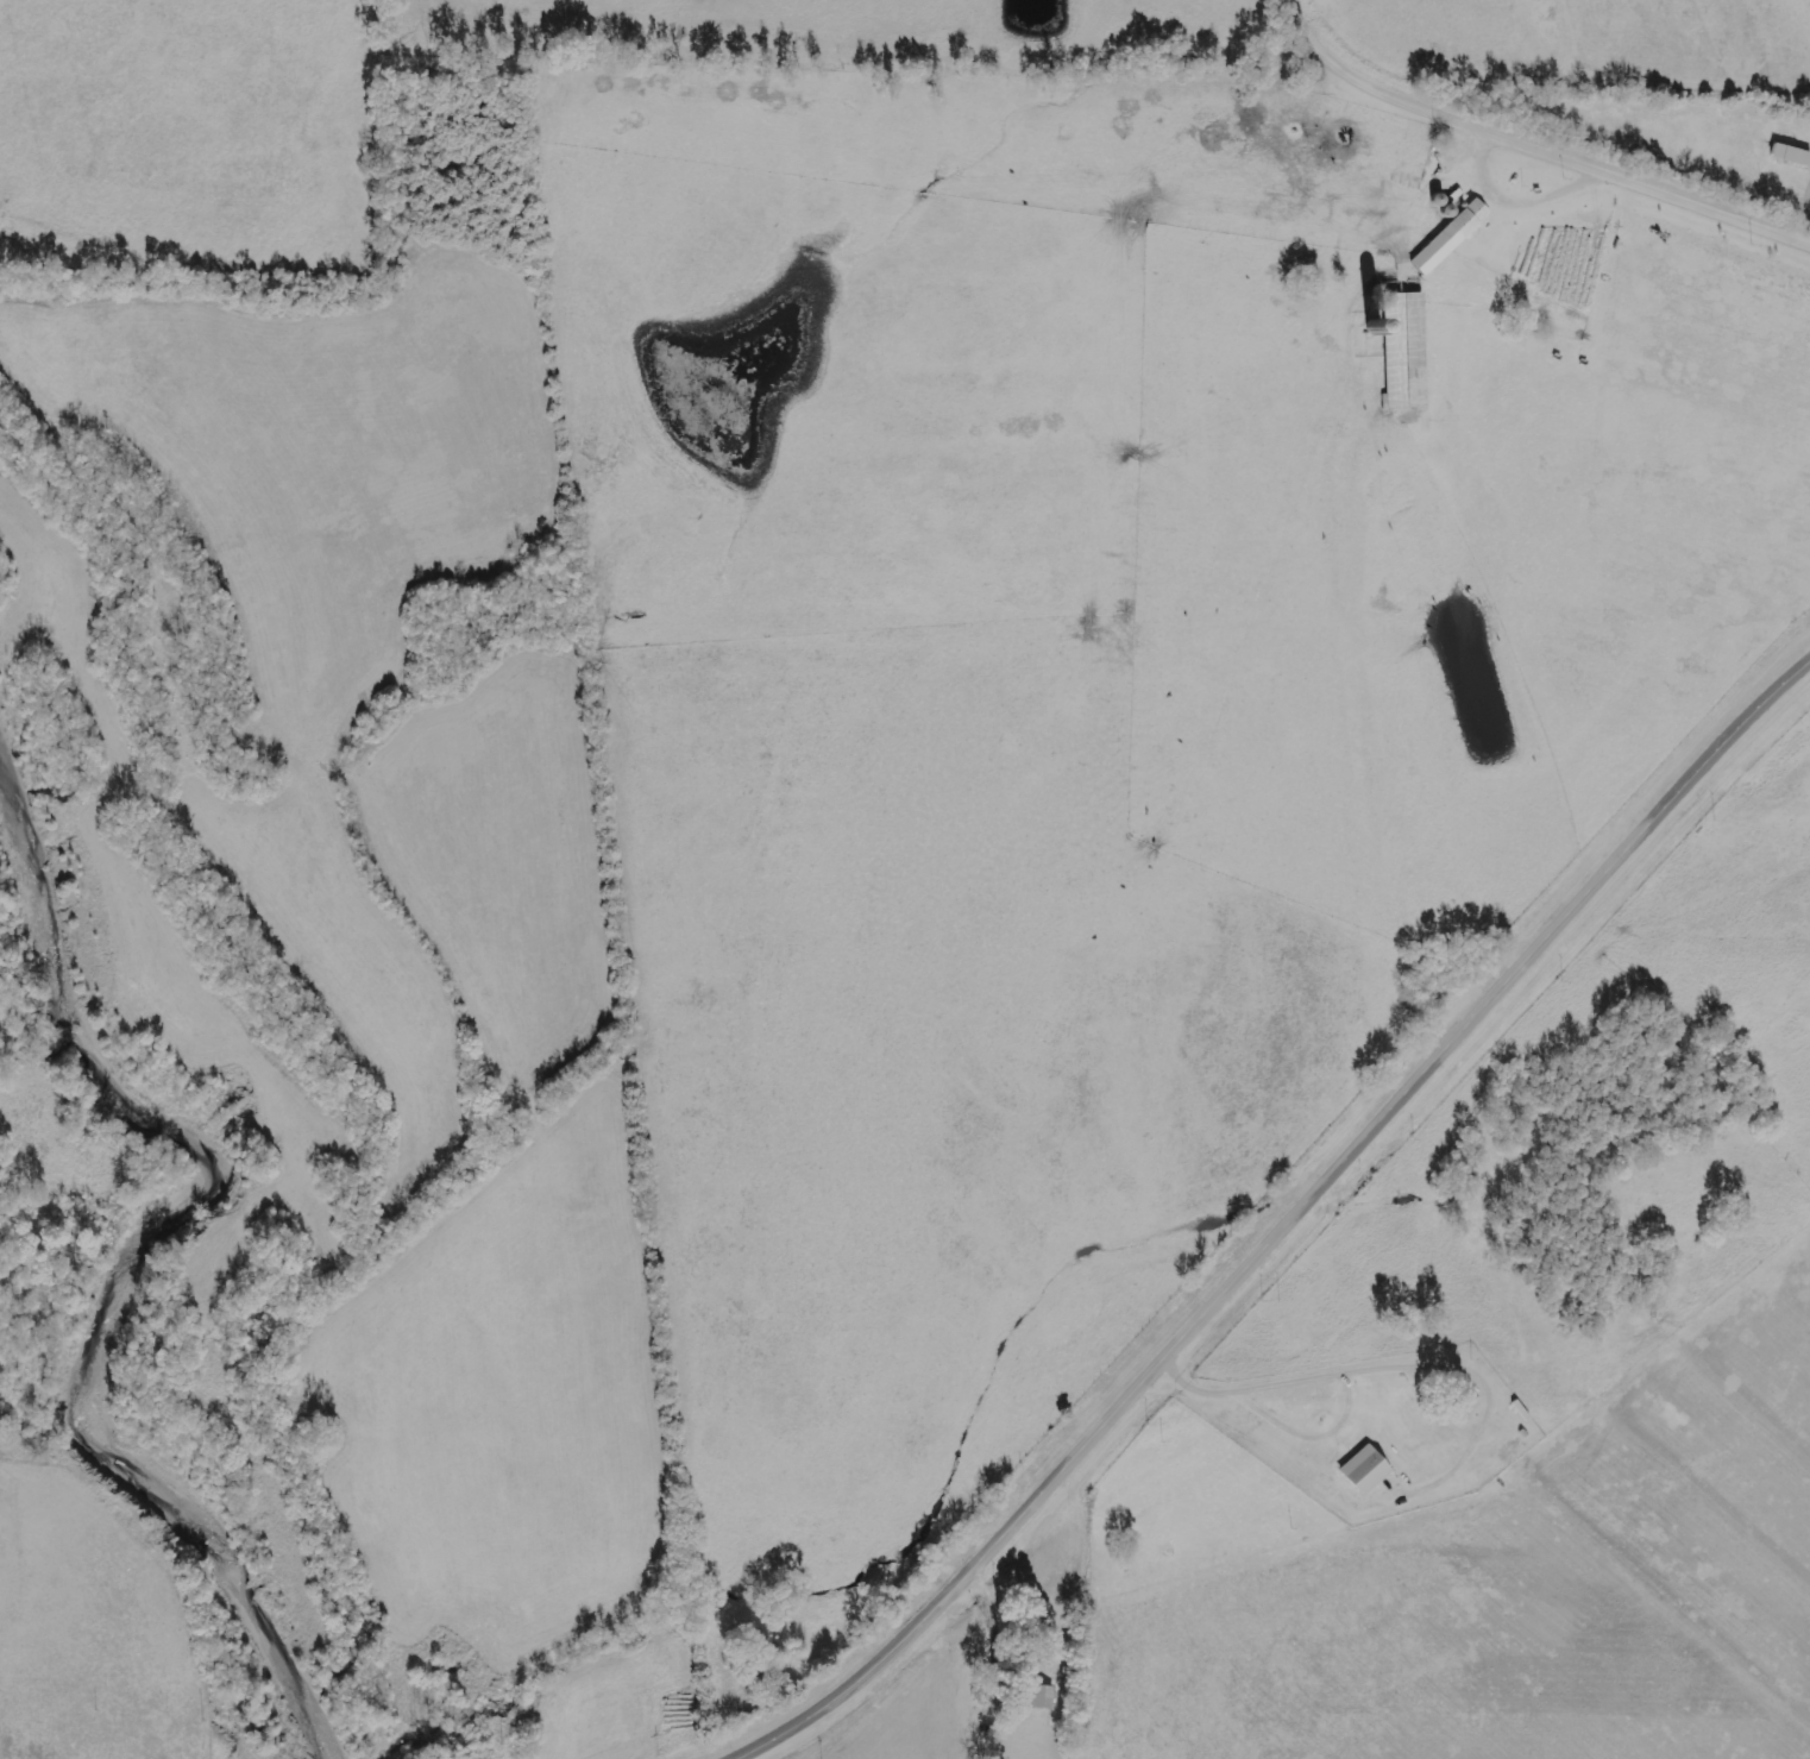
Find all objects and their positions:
road: (1547, 125)
building: (1790, 155)
building: (1450, 237)
building: (1404, 351)
road: (1284, 1221)
building: (1469, 1403)
building: (1364, 1470)
building: (1041, 1696)

